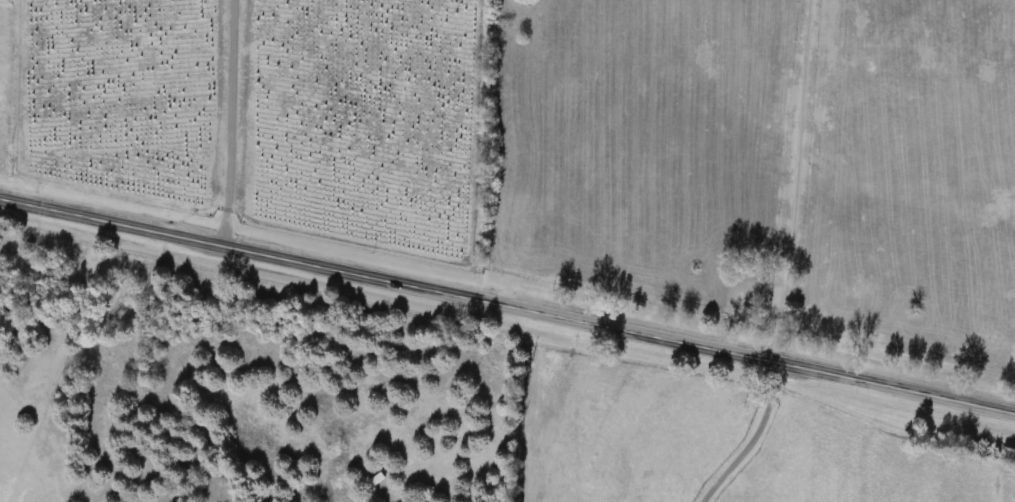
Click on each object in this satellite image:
road: (222, 121)
road: (797, 181)
road: (507, 304)
road: (742, 434)

